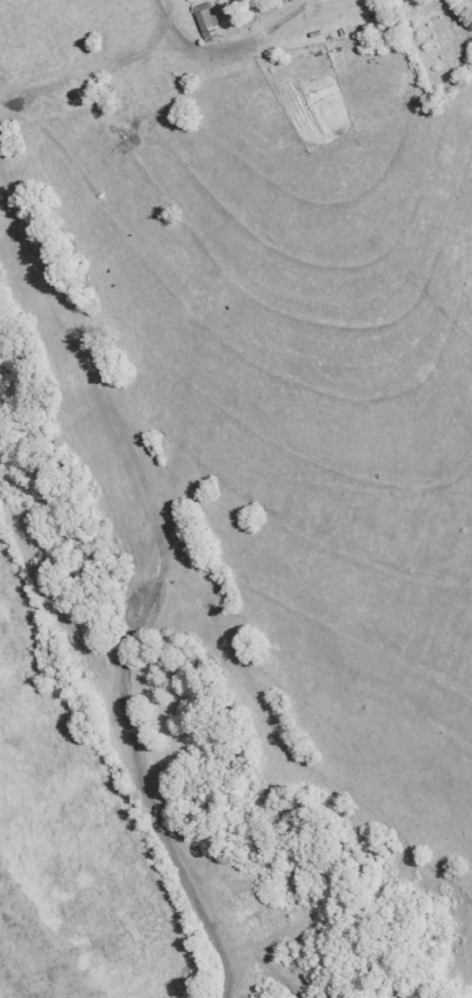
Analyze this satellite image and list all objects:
building: (207, 16)

